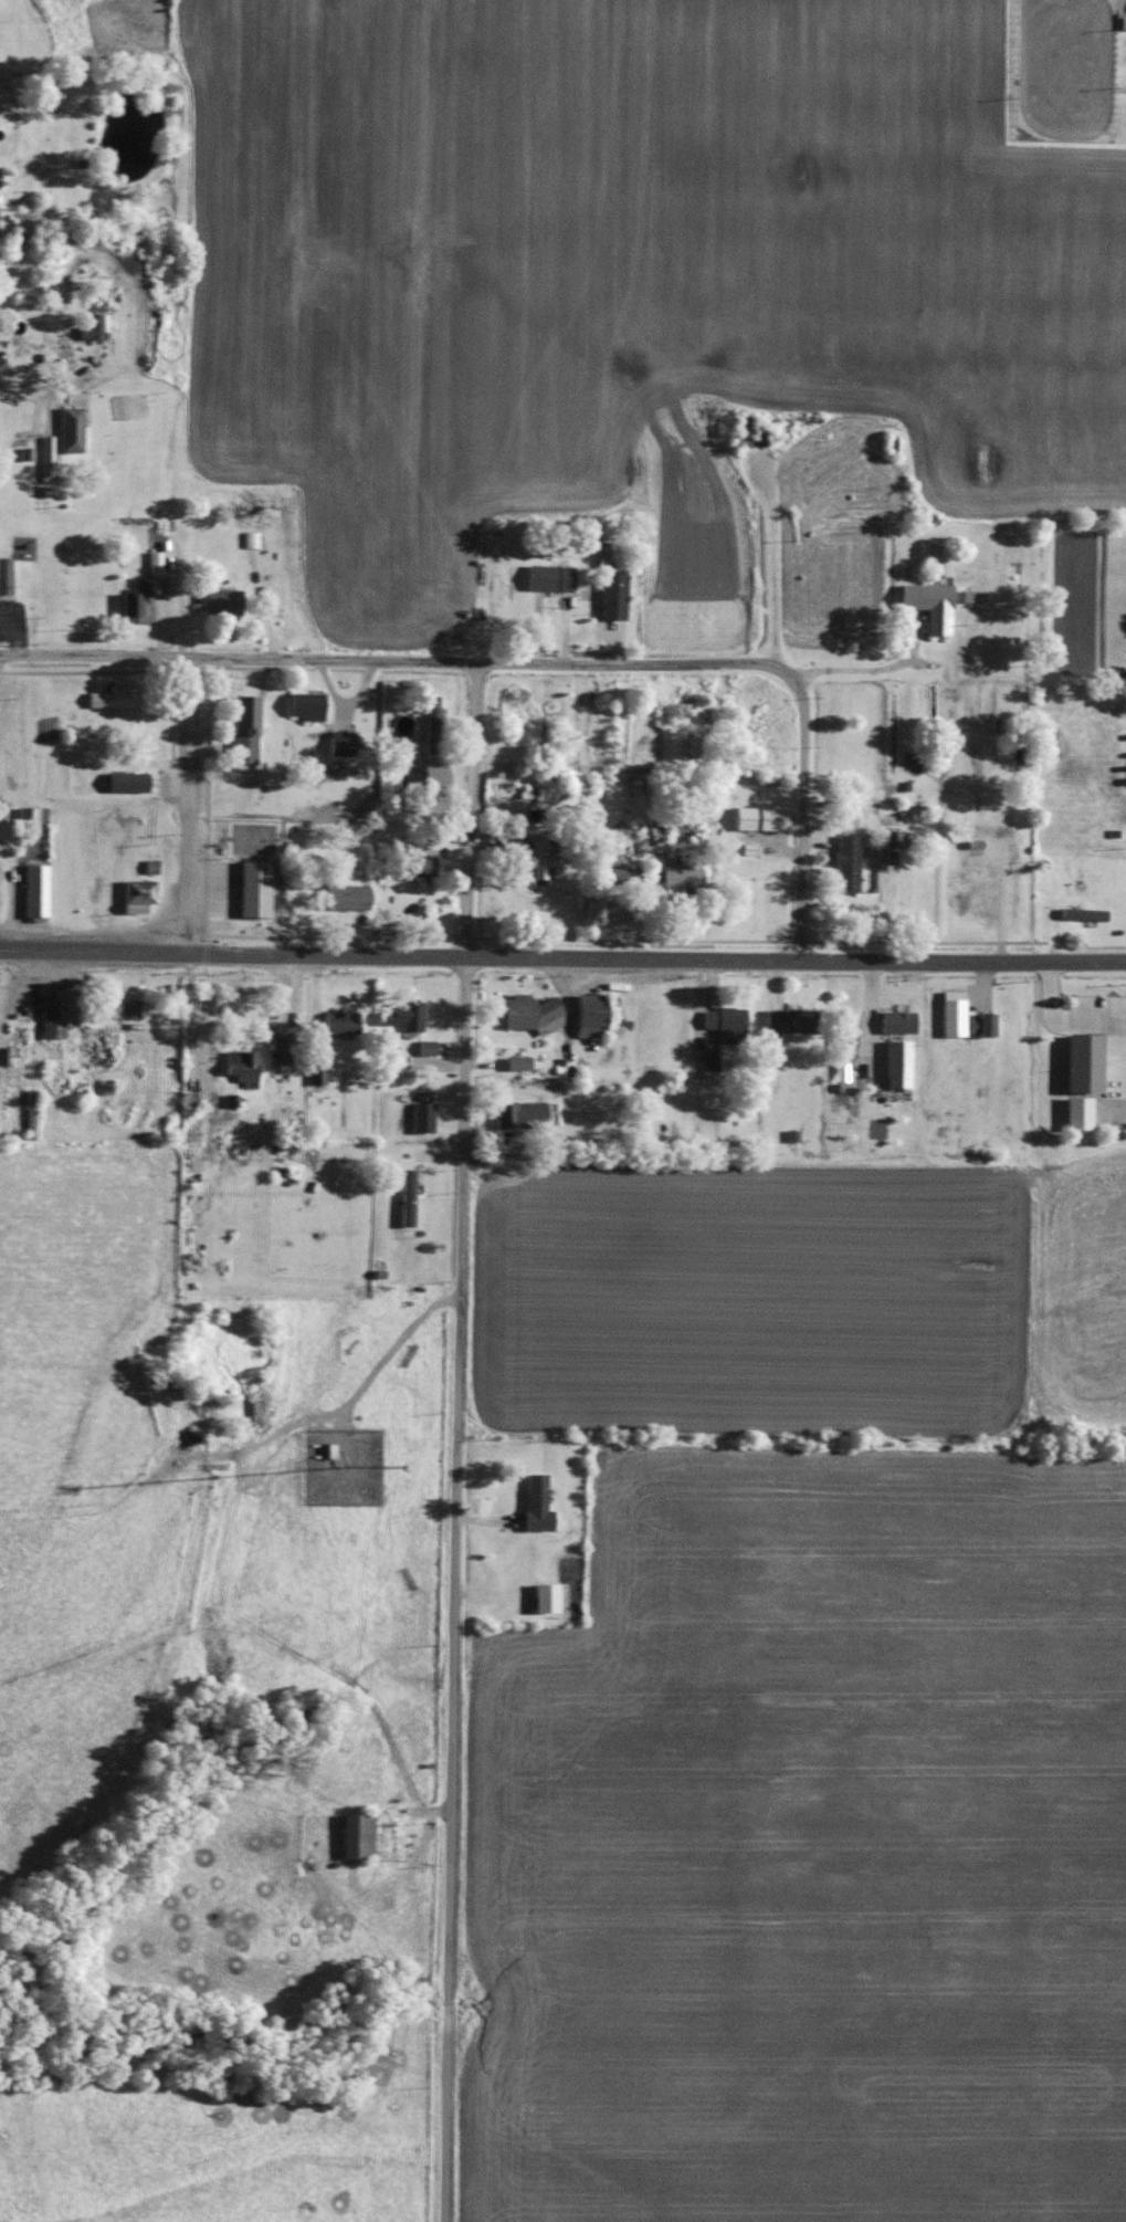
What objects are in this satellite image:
building: (93, 327)
building: (2, 335)
road: (19, 386)
building: (70, 429)
building: (46, 455)
building: (602, 554)
building: (154, 563)
building: (4, 575)
building: (549, 577)
building: (612, 596)
building: (218, 601)
building: (128, 605)
building: (928, 605)
road: (400, 658)
road: (872, 669)
building: (115, 700)
building: (305, 705)
building: (431, 716)
building: (241, 730)
building: (340, 743)
building: (125, 782)
road: (182, 804)
road: (469, 809)
building: (27, 815)
building: (760, 818)
road: (801, 819)
building: (419, 847)
building: (846, 862)
building: (535, 863)
building: (421, 866)
building: (682, 877)
building: (253, 889)
building: (34, 890)
building: (136, 895)
building: (345, 897)
building: (1082, 914)
road: (562, 957)
building: (128, 1008)
building: (57, 1014)
building: (953, 1014)
building: (589, 1015)
building: (403, 1017)
building: (723, 1019)
building: (340, 1021)
building: (896, 1021)
building: (979, 1024)
building: (844, 1038)
building: (280, 1044)
building: (425, 1047)
building: (711, 1060)
building: (517, 1062)
building: (1081, 1063)
building: (896, 1065)
building: (241, 1066)
building: (316, 1071)
building: (841, 1072)
building: (30, 1113)
building: (1076, 1113)
building: (519, 1115)
building: (421, 1118)
building: (407, 1197)
building: (535, 1502)
road: (453, 1590)
building: (544, 1597)
building: (356, 1834)

